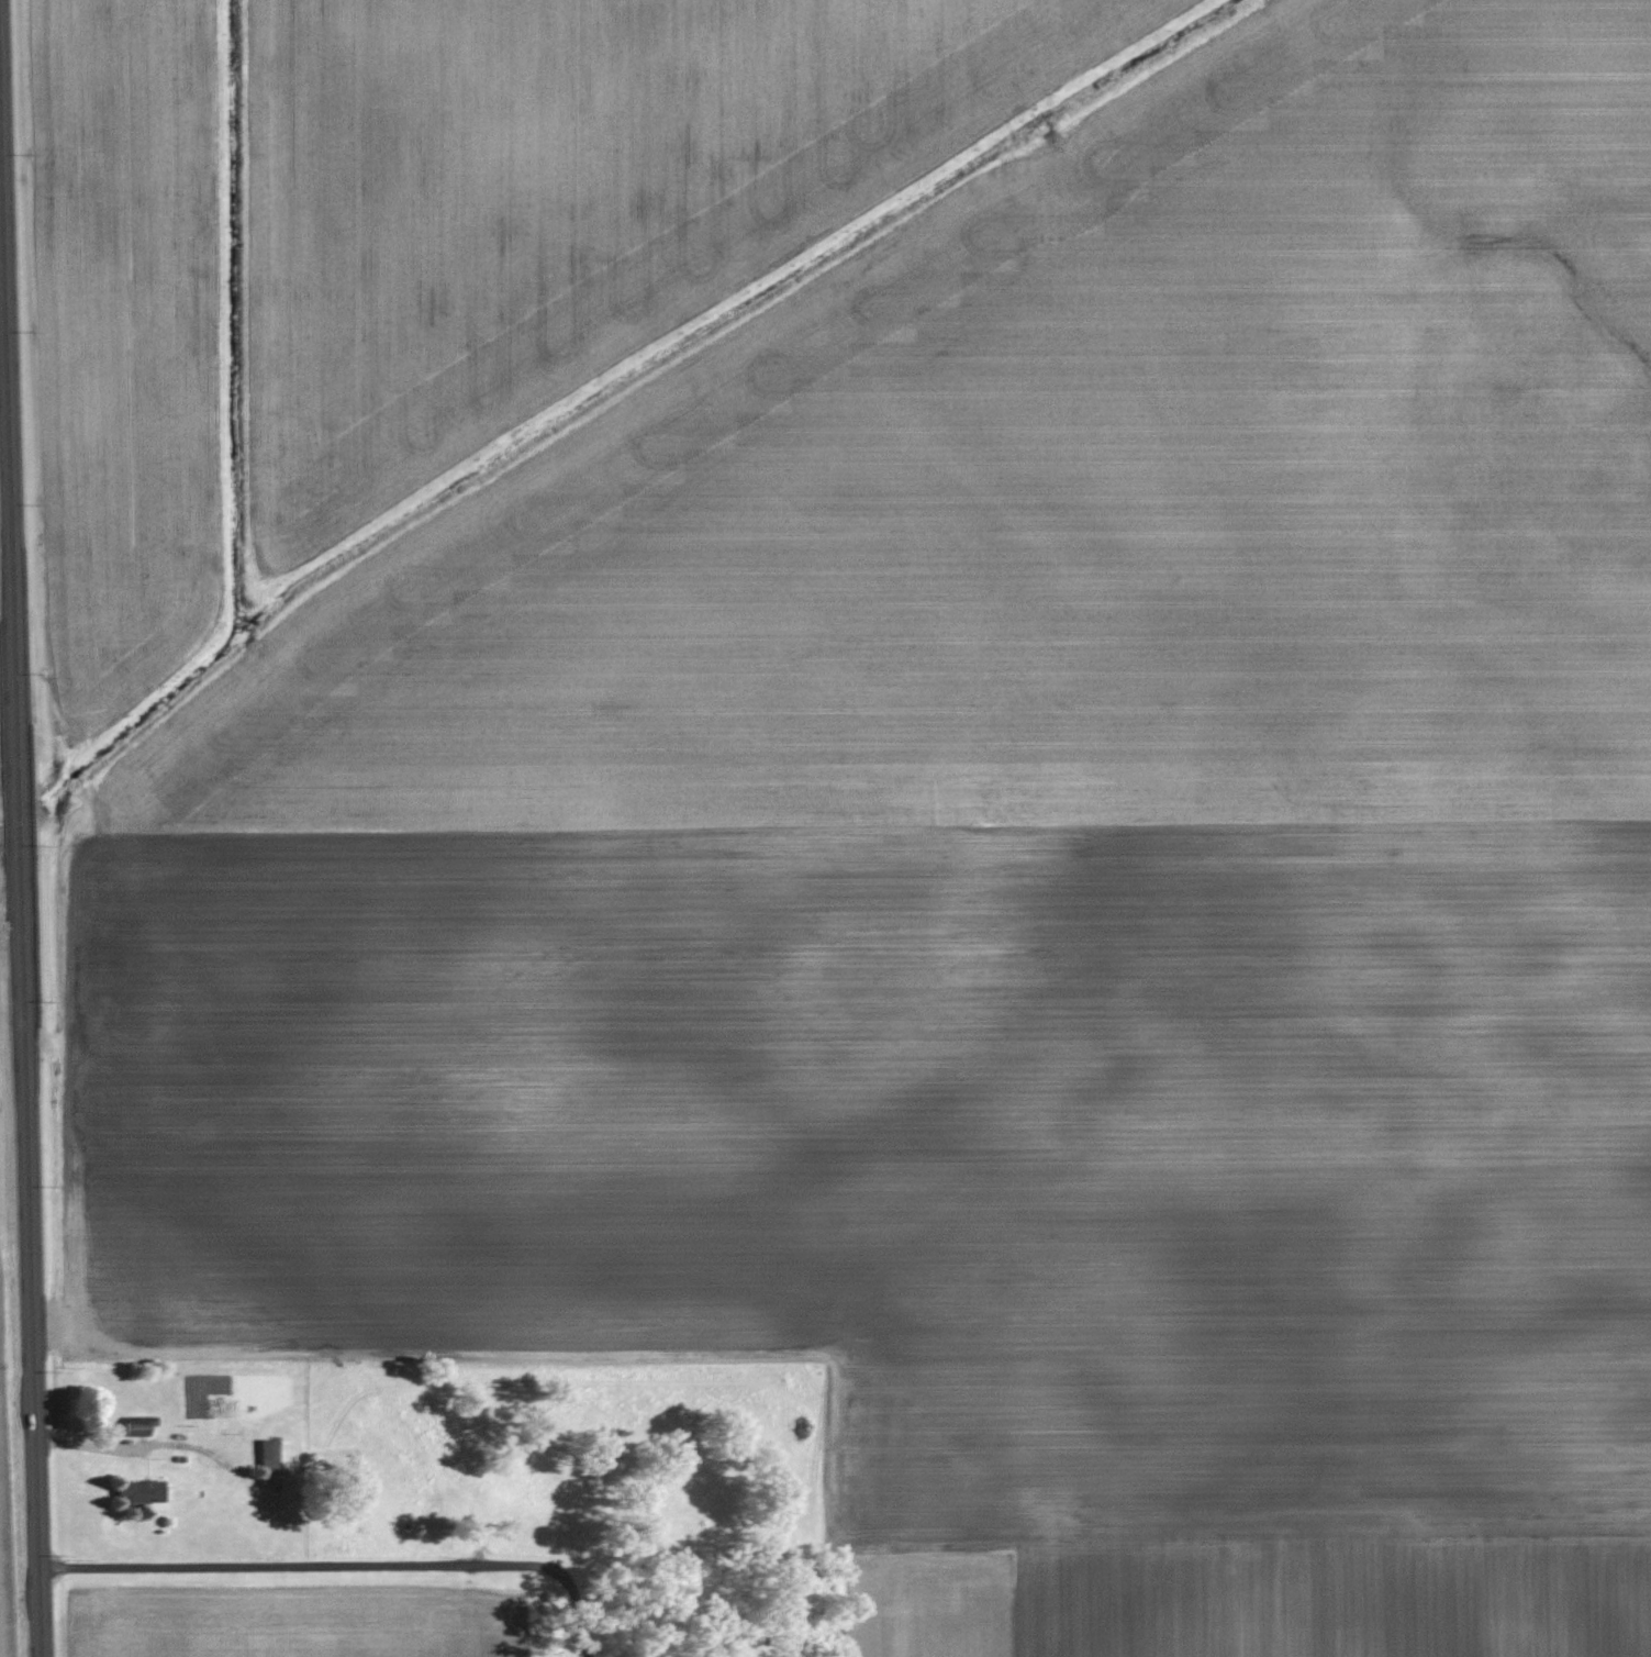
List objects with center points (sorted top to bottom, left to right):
road: (20, 838)
building: (141, 1425)
building: (278, 1461)
building: (144, 1492)

